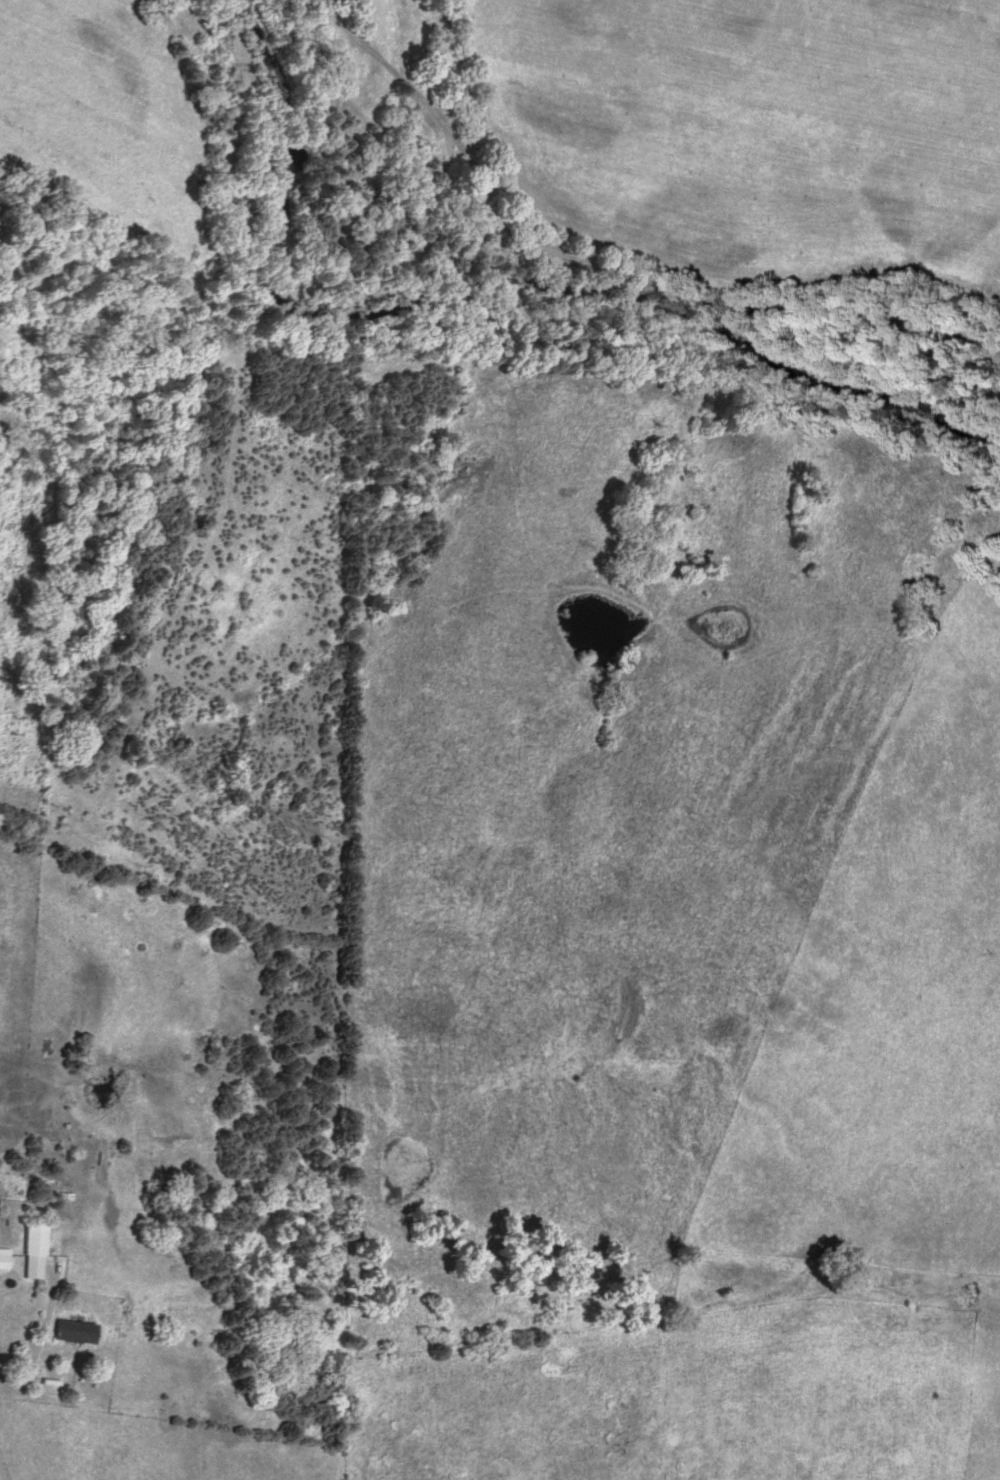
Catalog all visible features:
road: (607, 265)
building: (34, 1251)
building: (4, 1259)
building: (78, 1333)
road: (38, 1338)
road: (1, 1474)

